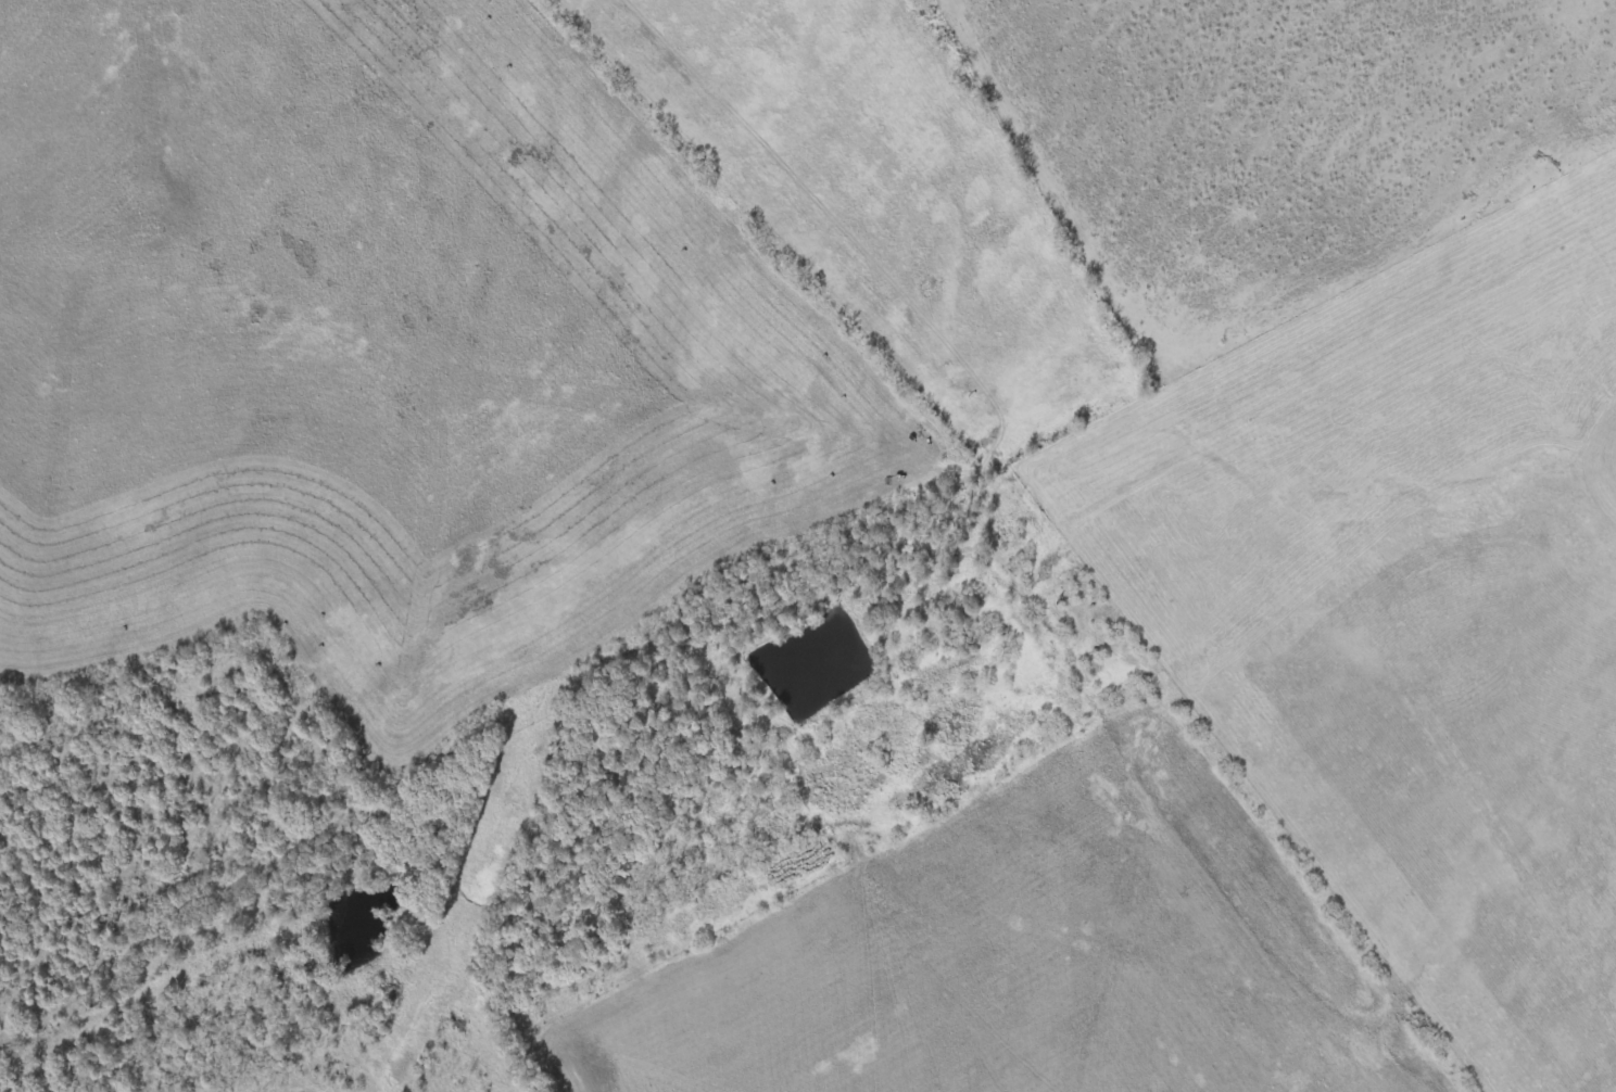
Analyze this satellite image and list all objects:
road: (123, 1049)

